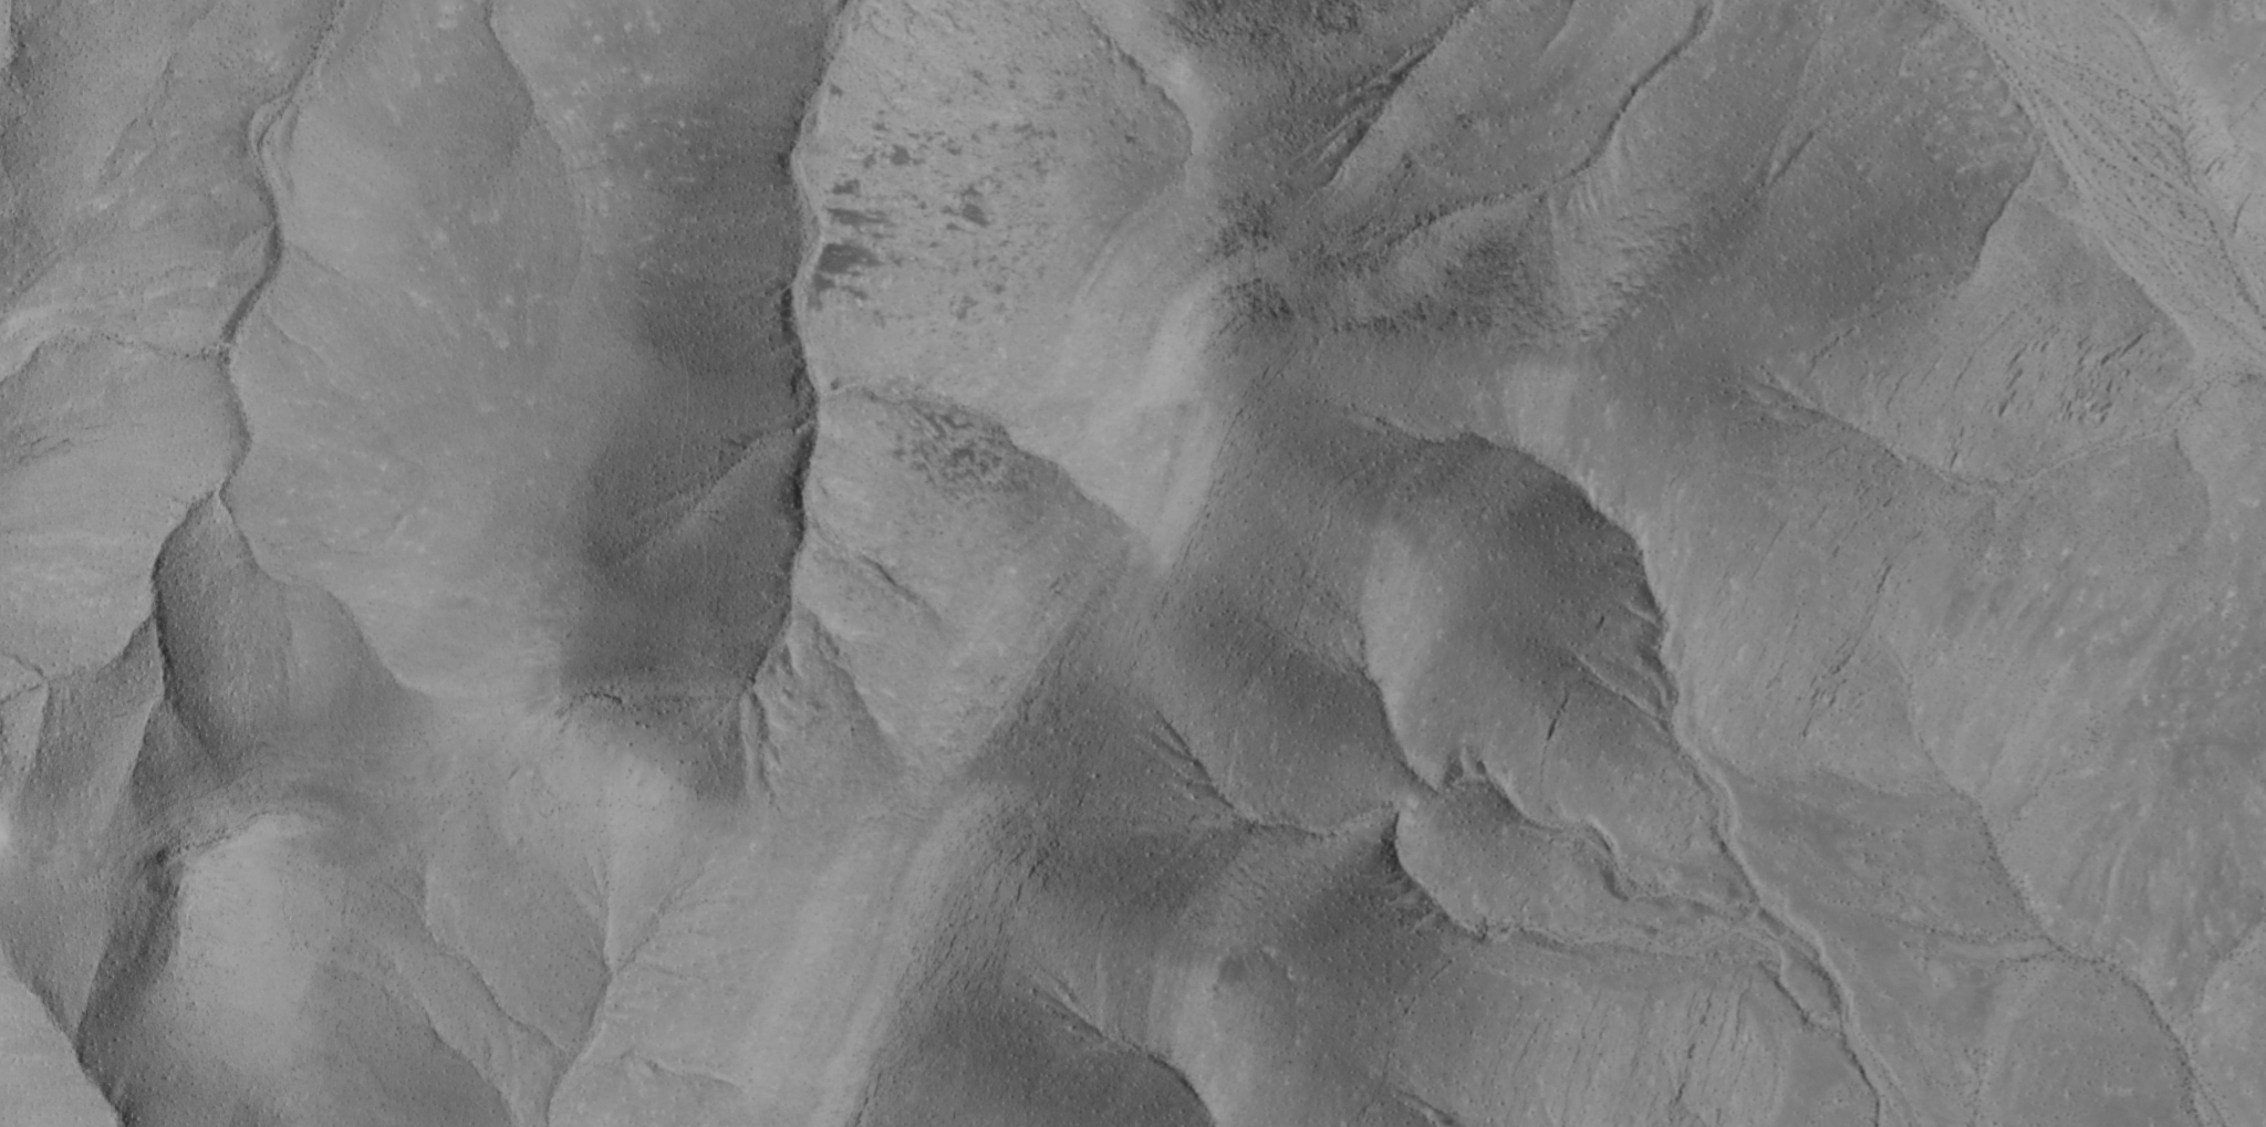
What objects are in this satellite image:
road: (2100, 138)

